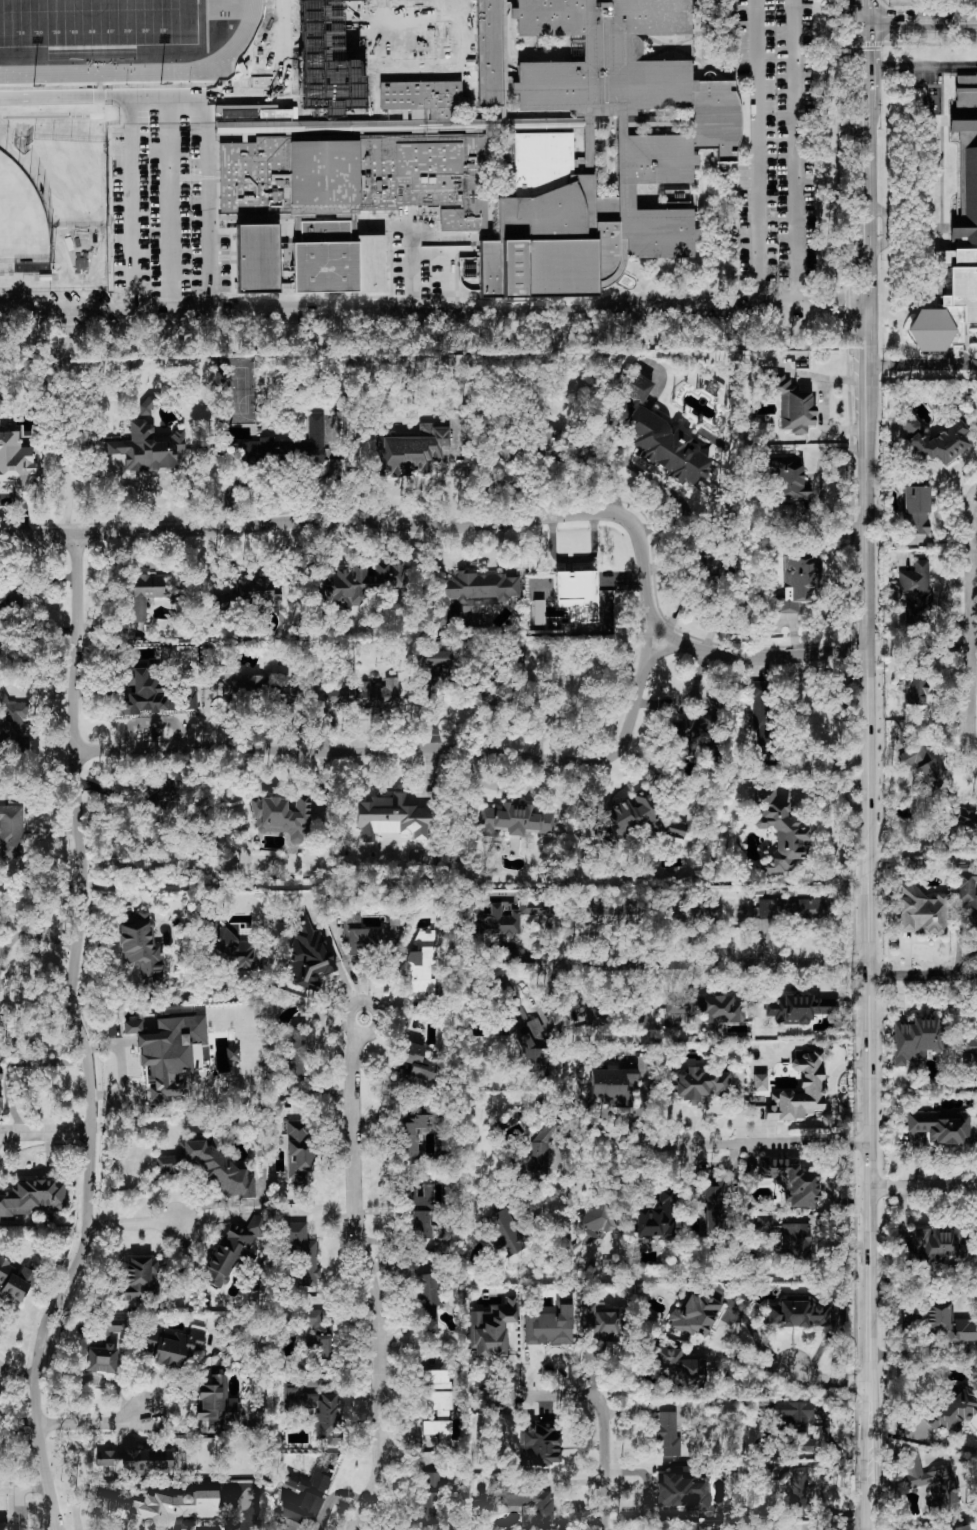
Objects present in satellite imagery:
road: (867, 11)
park: (98, 22)
road: (832, 22)
traffic signals: (867, 22)
road: (903, 22)
road: (958, 22)
building: (451, 26)
track: (241, 39)
road: (921, 63)
road: (867, 65)
road: (65, 98)
building: (967, 99)
road: (758, 125)
building: (347, 142)
road: (797, 163)
road: (131, 182)
road: (209, 184)
building: (975, 192)
road: (171, 202)
park: (20, 218)
road: (869, 248)
road: (500, 302)
road: (65, 310)
road: (577, 339)
road: (923, 364)
road: (825, 403)
building: (148, 405)
building: (793, 406)
road: (67, 423)
building: (660, 436)
building: (317, 438)
building: (935, 439)
building: (549, 445)
building: (147, 449)
building: (413, 449)
building: (264, 452)
building: (16, 461)
building: (789, 479)
building: (915, 510)
road: (381, 524)
road: (968, 538)
building: (706, 566)
building: (362, 583)
building: (800, 584)
road: (972, 584)
building: (917, 590)
building: (249, 593)
building: (145, 594)
building: (472, 594)
building: (577, 595)
road: (7, 606)
building: (536, 612)
road: (759, 657)
building: (436, 659)
road: (966, 672)
building: (242, 685)
building: (914, 690)
building: (288, 693)
building: (144, 694)
building: (367, 695)
building: (188, 697)
road: (75, 712)
building: (14, 718)
building: (763, 723)
building: (694, 725)
road: (405, 750)
building: (922, 765)
building: (163, 790)
building: (283, 818)
building: (391, 818)
building: (515, 820)
building: (676, 829)
building: (11, 831)
building: (780, 831)
building: (967, 892)
building: (795, 909)
building: (922, 911)
building: (695, 912)
building: (503, 913)
building: (609, 913)
road: (322, 925)
building: (367, 933)
road: (31, 934)
building: (141, 948)
building: (233, 949)
building: (307, 957)
road: (868, 958)
building: (420, 963)
road: (714, 965)
road: (922, 977)
road: (132, 999)
building: (706, 1009)
building: (799, 1009)
building: (522, 1026)
building: (132, 1027)
building: (917, 1039)
building: (232, 1054)
building: (172, 1055)
building: (415, 1067)
building: (1, 1074)
building: (760, 1082)
building: (612, 1084)
building: (699, 1084)
road: (831, 1089)
building: (799, 1091)
building: (0, 1101)
road: (716, 1110)
building: (941, 1126)
road: (44, 1132)
building: (413, 1134)
road: (700, 1144)
building: (299, 1148)
building: (167, 1164)
building: (216, 1169)
building: (791, 1181)
road: (923, 1187)
building: (421, 1196)
building: (32, 1197)
building: (711, 1205)
road: (88, 1213)
building: (656, 1217)
building: (591, 1224)
road: (132, 1225)
building: (421, 1225)
building: (505, 1233)
building: (788, 1237)
building: (938, 1246)
building: (564, 1247)
building: (230, 1252)
building: (302, 1252)
road: (367, 1276)
building: (139, 1279)
building: (16, 1280)
building: (428, 1304)
building: (798, 1314)
building: (694, 1315)
building: (601, 1322)
building: (947, 1323)
building: (550, 1325)
building: (491, 1328)
building: (319, 1333)
road: (754, 1334)
building: (173, 1345)
building: (105, 1348)
road: (923, 1354)
road: (742, 1361)
building: (680, 1369)
building: (434, 1379)
road: (16, 1380)
road: (828, 1383)
building: (440, 1403)
building: (317, 1410)
building: (954, 1410)
road: (602, 1414)
building: (796, 1423)
road: (90, 1425)
building: (436, 1429)
building: (668, 1433)
building: (540, 1444)
road: (950, 1445)
road: (948, 1458)
building: (137, 1462)
building: (433, 1480)
building: (931, 1484)
road: (648, 1490)
building: (685, 1490)
building: (799, 1493)
building: (307, 1496)
building: (527, 1500)
building: (161, 1508)
building: (426, 1510)
building: (3, 1526)
building: (957, 1526)

